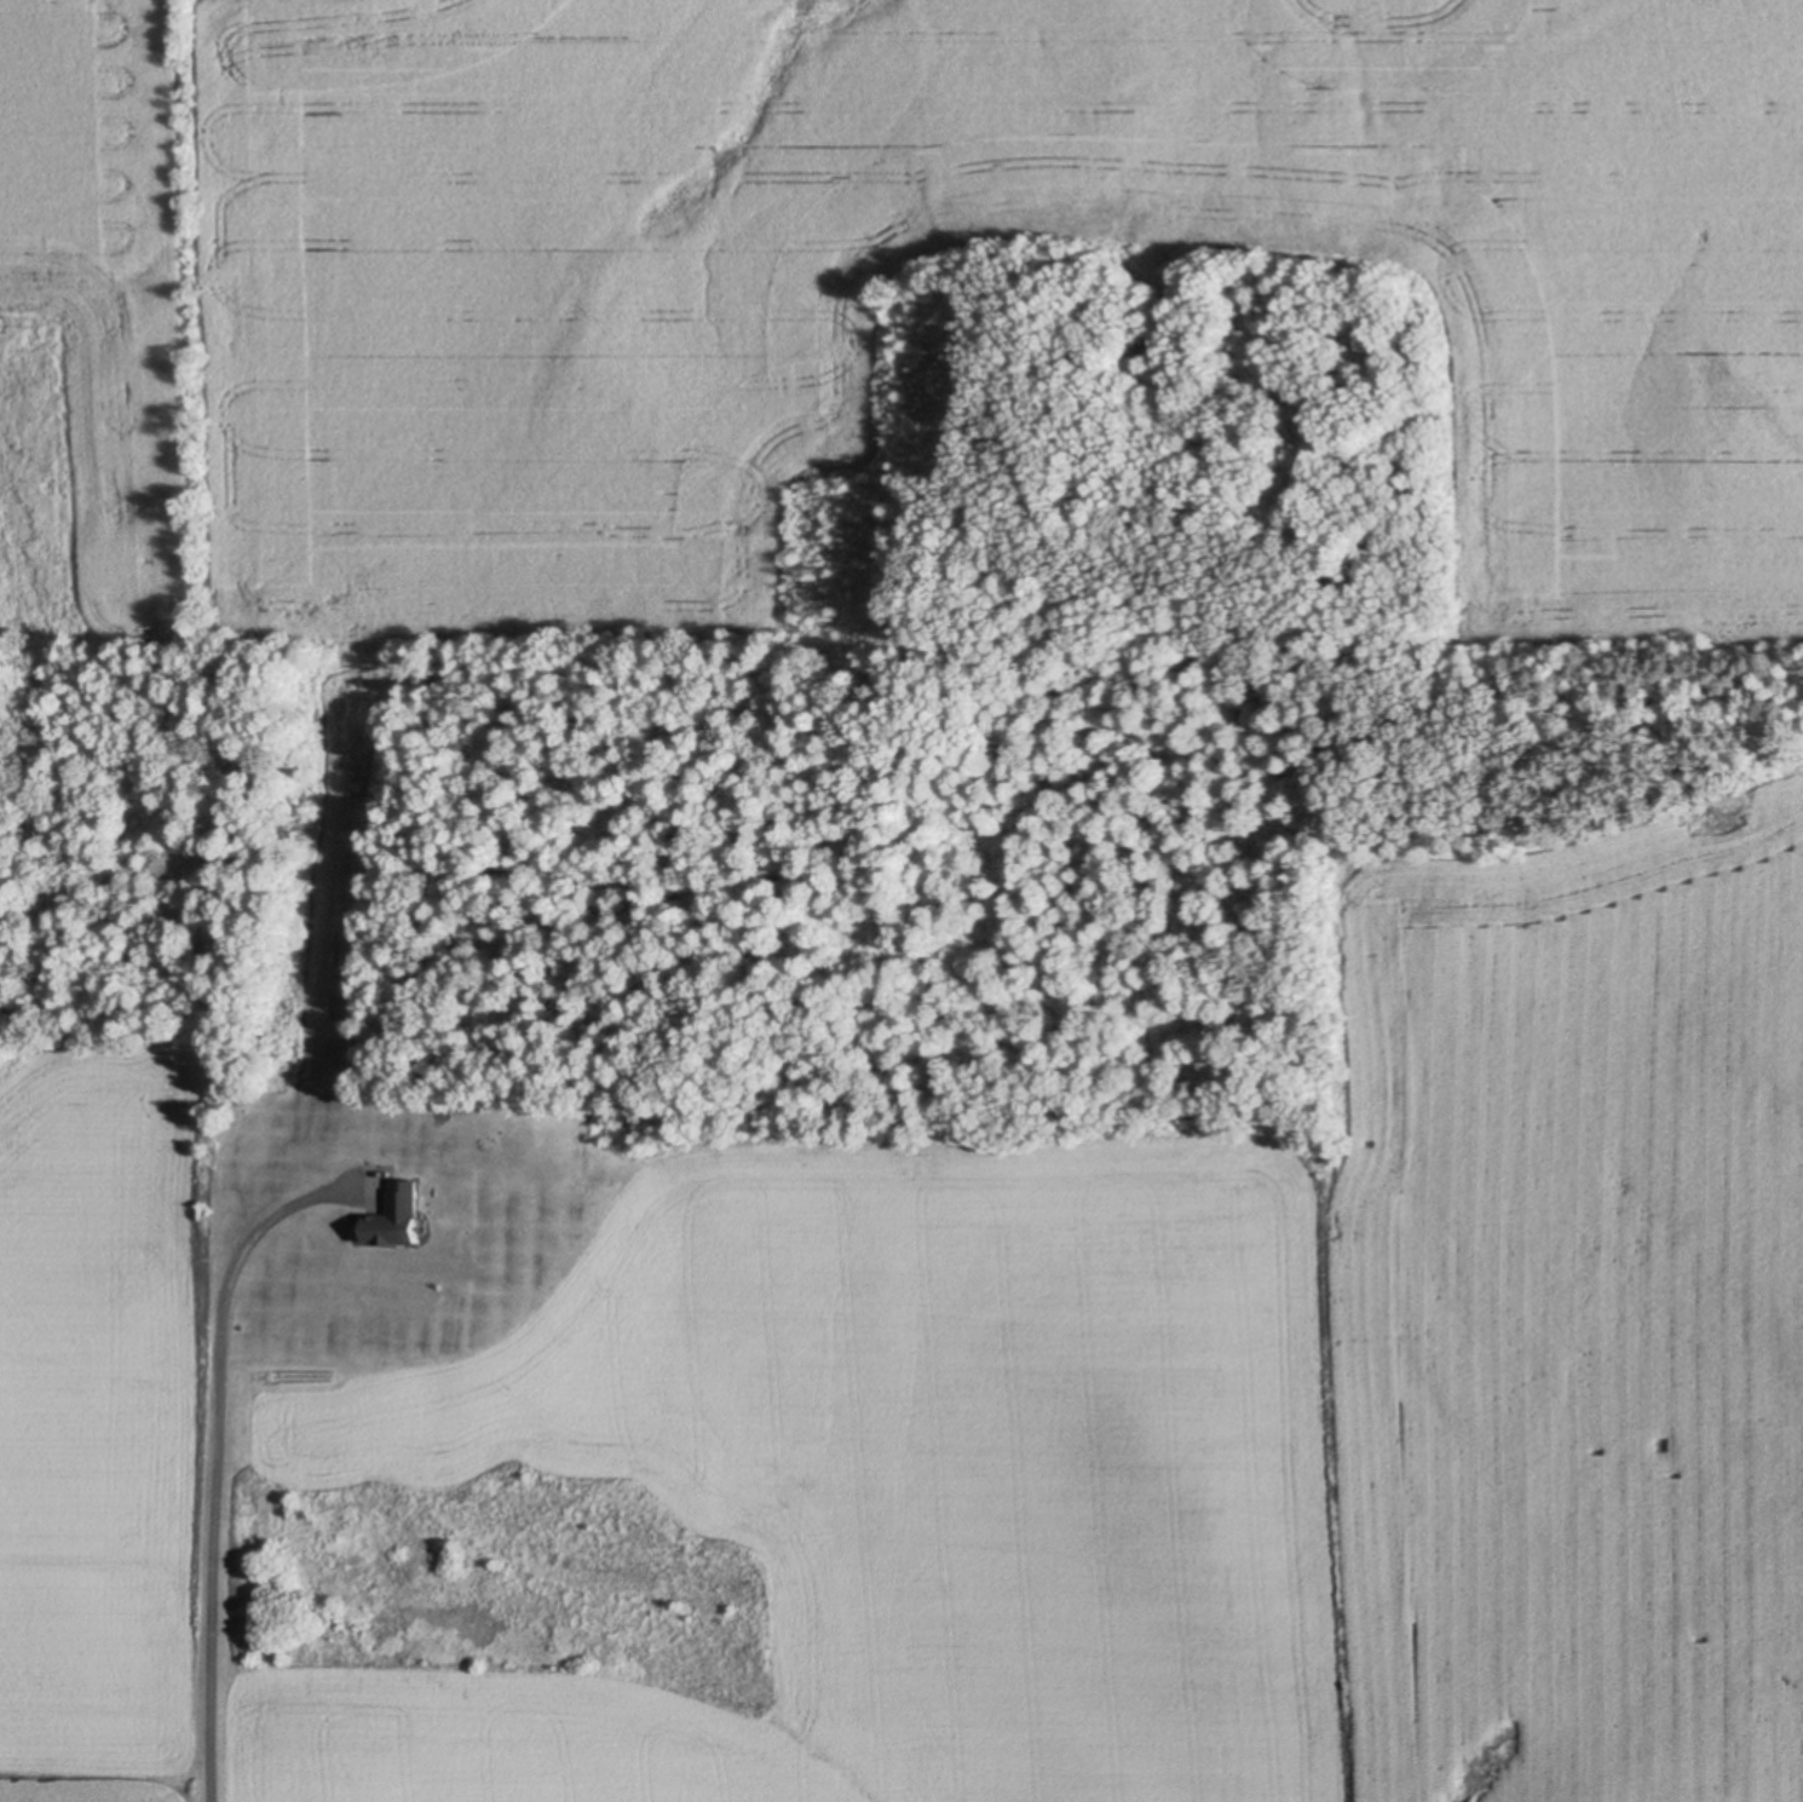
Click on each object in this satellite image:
crop: (839, 280)
crop: (1000, 1416)
road: (213, 1464)

